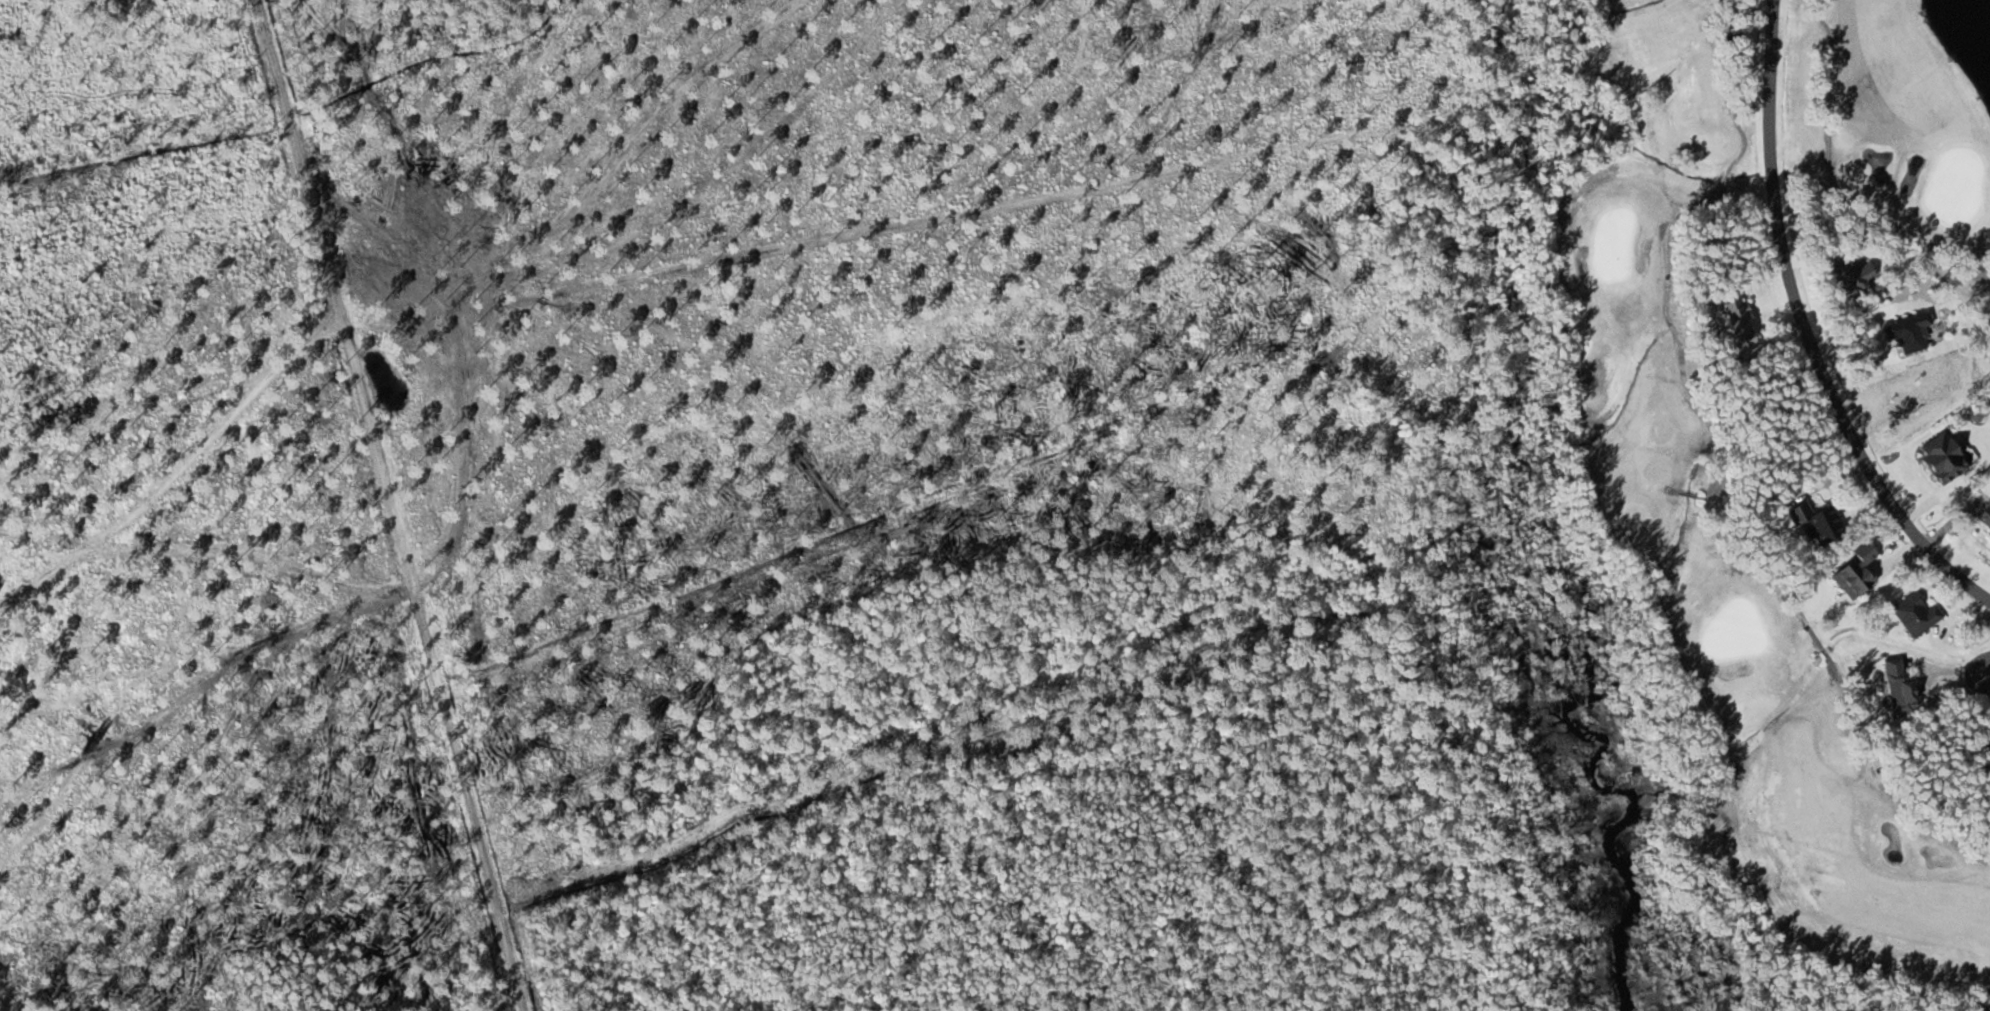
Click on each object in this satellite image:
building: (1733, 36)
road: (1831, 180)
building: (1853, 276)
building: (1737, 319)
road: (1805, 328)
building: (1908, 331)
road: (1715, 452)
road: (419, 500)
building: (1985, 516)
building: (1816, 523)
building: (1855, 573)
building: (1916, 614)
road: (1986, 665)
building: (1899, 683)
building: (1987, 750)

